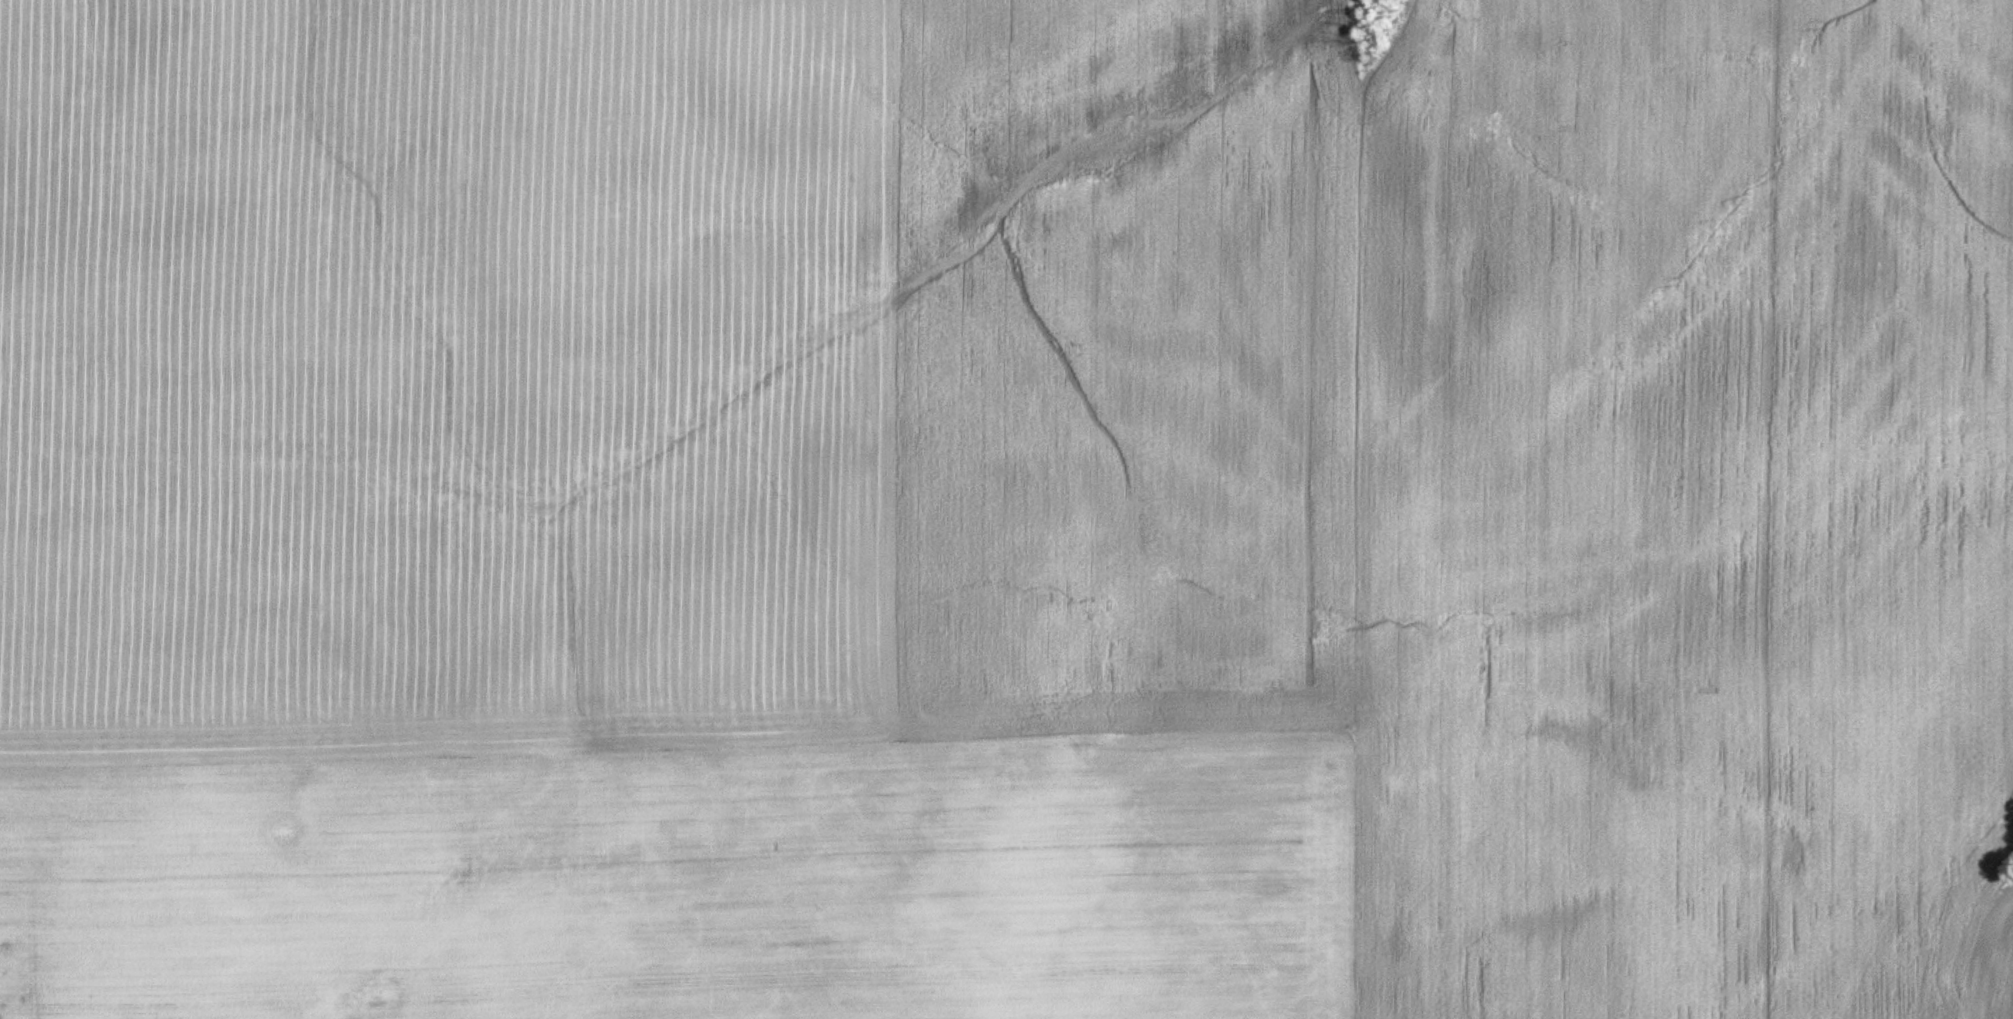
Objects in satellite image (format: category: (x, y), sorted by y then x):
road: (1912, 1013)

